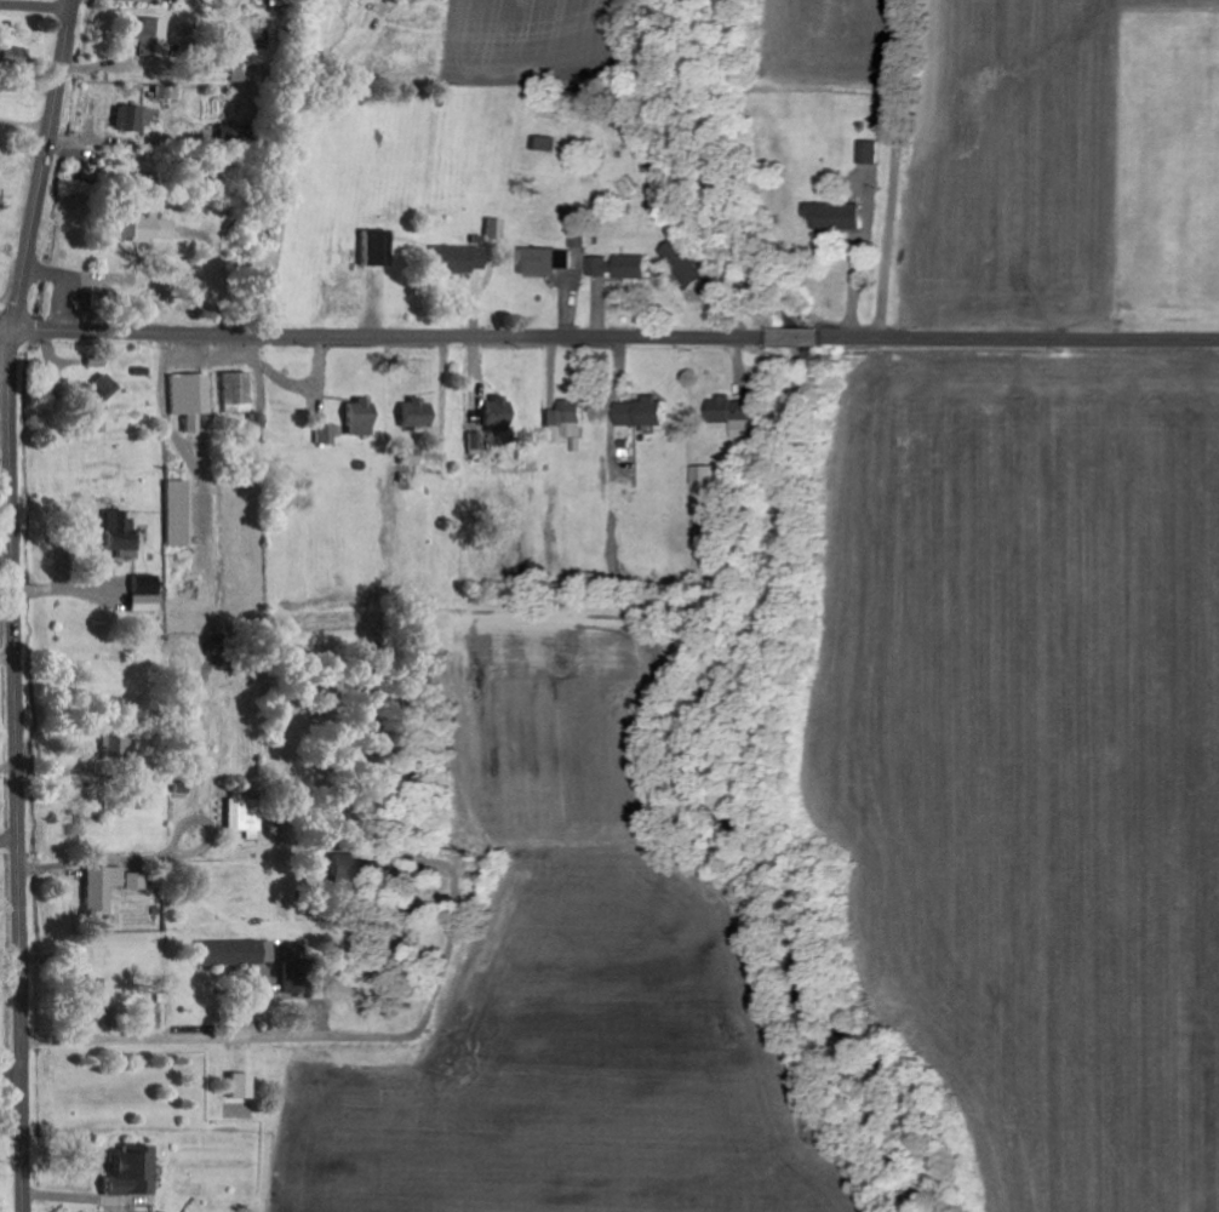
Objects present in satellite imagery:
road: (36, 1)
building: (147, 38)
building: (10, 56)
building: (222, 74)
building: (128, 119)
building: (868, 154)
road: (42, 166)
road: (920, 170)
building: (832, 217)
building: (139, 228)
building: (492, 228)
building: (371, 248)
building: (454, 261)
building: (543, 262)
building: (682, 264)
building: (619, 268)
road: (6, 336)
road: (614, 337)
building: (93, 361)
building: (234, 393)
building: (92, 394)
building: (187, 394)
building: (491, 412)
building: (639, 413)
building: (412, 415)
building: (731, 416)
building: (356, 418)
building: (563, 422)
building: (322, 435)
building: (471, 445)
building: (407, 457)
building: (705, 490)
building: (174, 514)
building: (116, 534)
building: (139, 594)
building: (116, 745)
road: (18, 773)
building: (240, 819)
road: (218, 847)
building: (349, 869)
building: (131, 882)
building: (97, 888)
building: (233, 953)
building: (97, 995)
building: (236, 1087)
building: (126, 1173)

